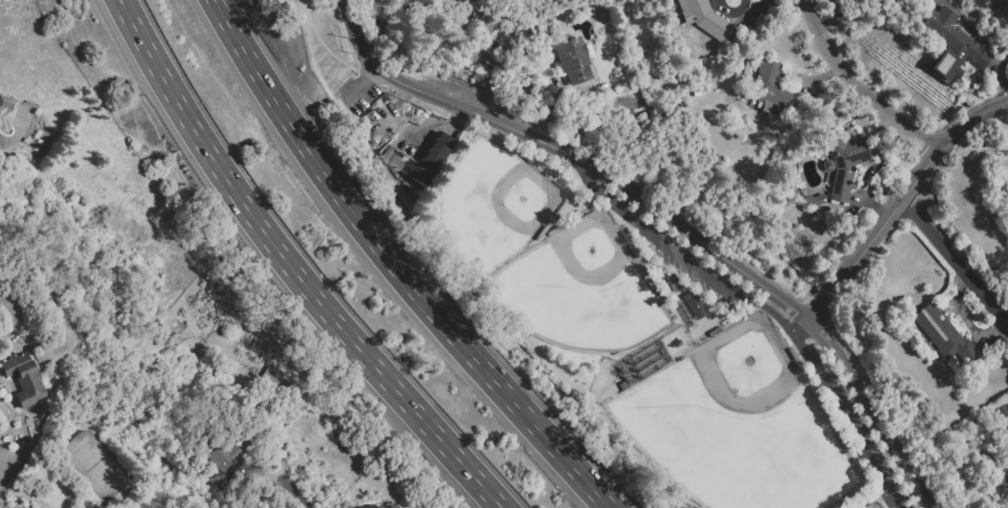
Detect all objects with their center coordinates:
road: (730, 11)
road: (846, 13)
building: (704, 18)
road: (333, 32)
building: (953, 36)
building: (572, 61)
building: (770, 89)
road: (558, 90)
road: (854, 92)
road: (550, 109)
building: (7, 111)
road: (541, 131)
building: (430, 159)
building: (844, 161)
road: (586, 172)
building: (812, 199)
park: (526, 200)
road: (898, 205)
road: (620, 209)
road: (665, 214)
park: (592, 248)
parking lot: (684, 261)
road: (955, 262)
road: (396, 266)
road: (293, 268)
road: (459, 279)
building: (672, 283)
road: (723, 289)
building: (694, 305)
road: (967, 319)
building: (174, 326)
building: (944, 335)
park: (645, 337)
park: (747, 364)
building: (278, 379)
building: (27, 380)
road: (842, 414)
parking lot: (1002, 416)
road: (1005, 427)
parking lot: (862, 430)
road: (1005, 433)
building: (216, 450)
parking lot: (1007, 472)
building: (379, 506)
building: (377, 507)
building: (394, 507)

